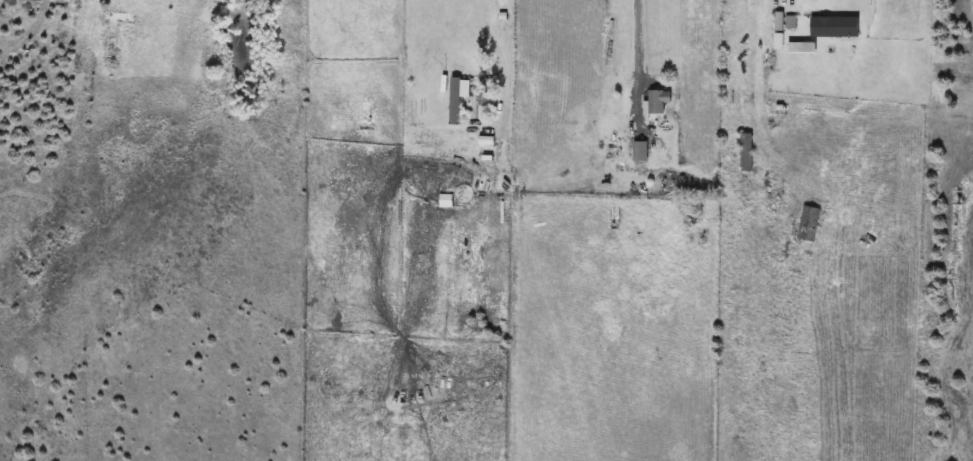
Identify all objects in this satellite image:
building: (123, 19)
building: (835, 28)
road: (505, 59)
road: (640, 65)
building: (484, 97)
building: (456, 101)
building: (659, 103)
building: (641, 153)
building: (748, 154)
building: (447, 202)
building: (697, 205)
building: (809, 225)

